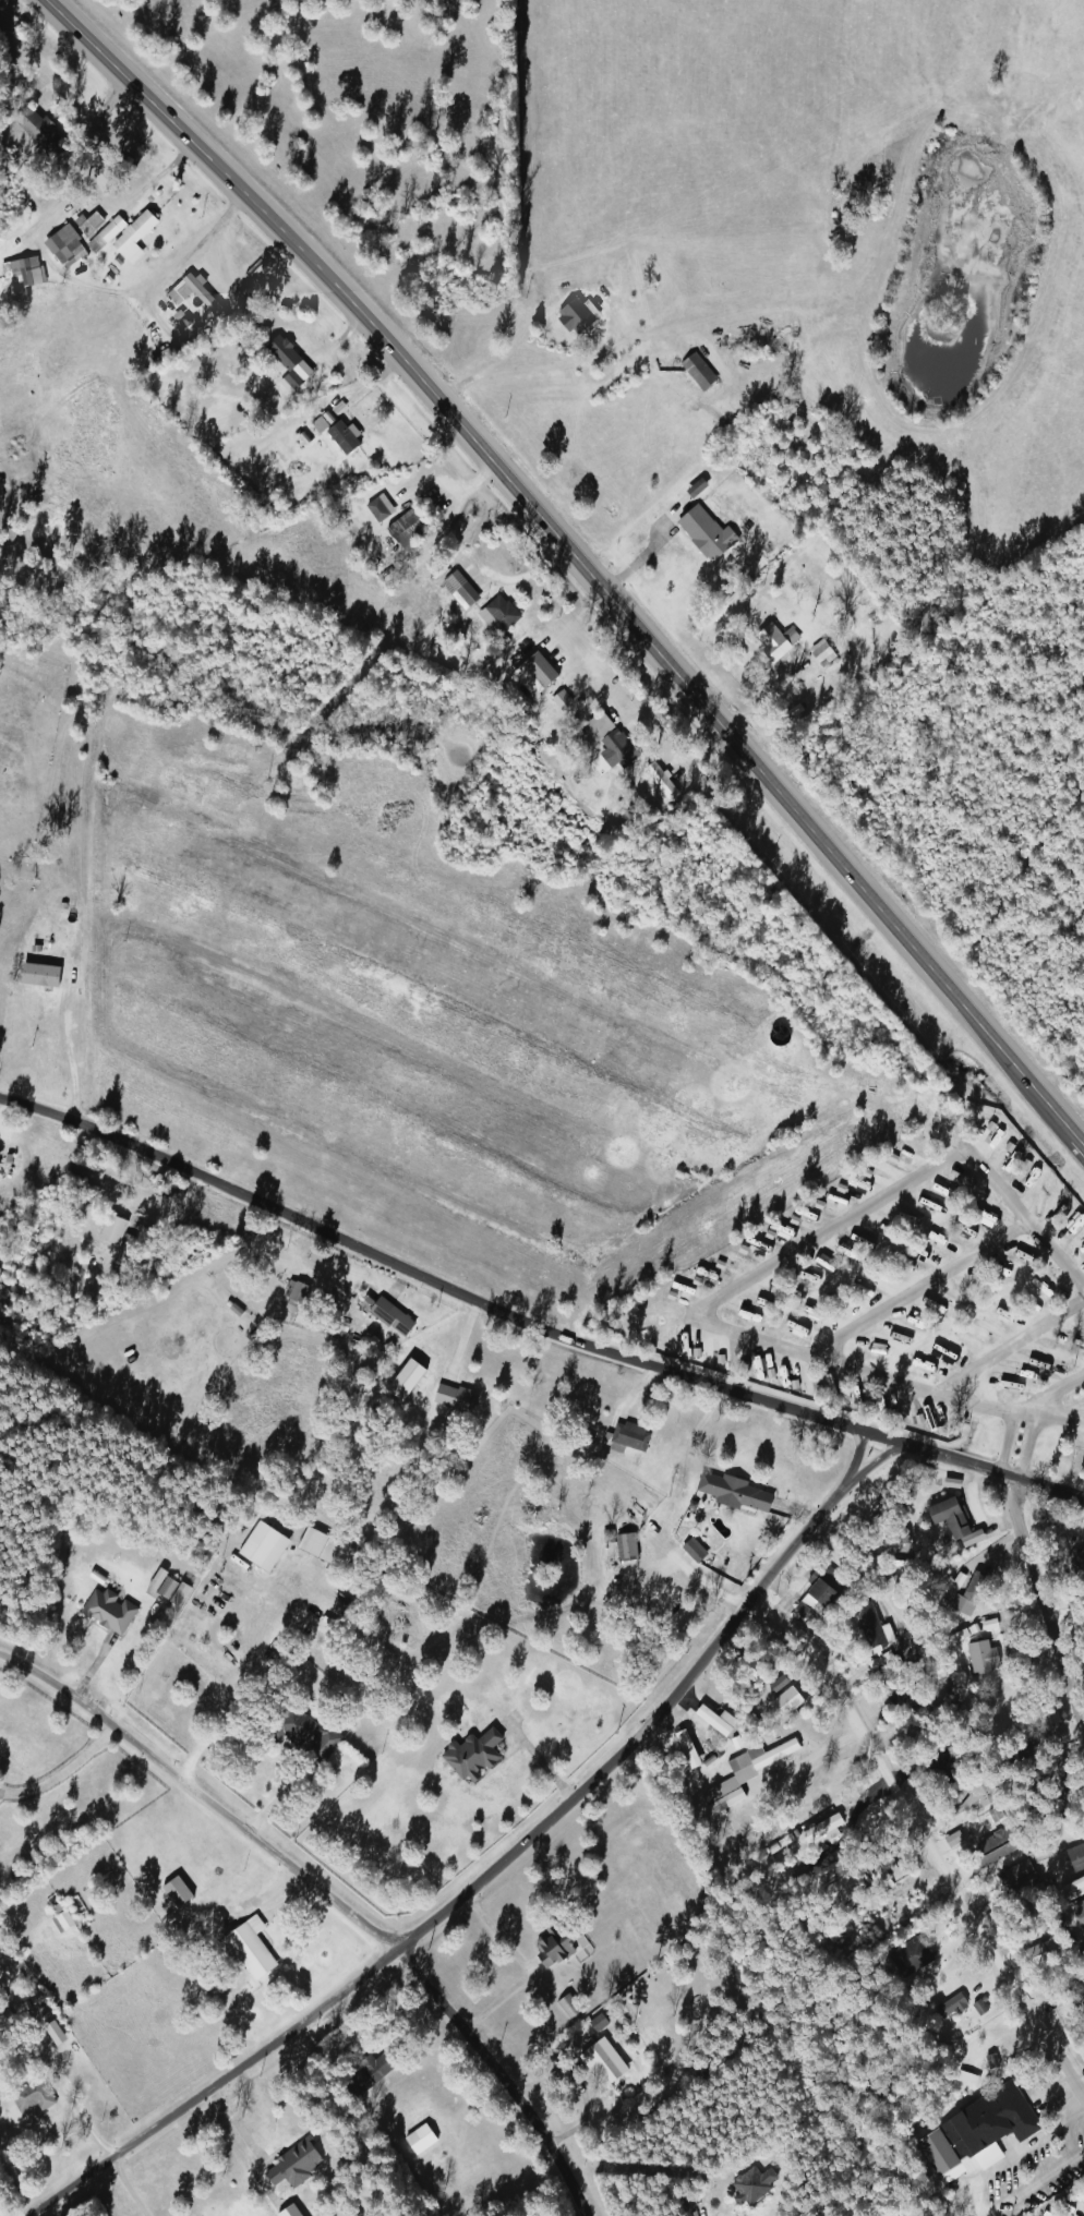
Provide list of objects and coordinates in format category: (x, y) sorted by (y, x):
building: (36, 130)
building: (85, 224)
building: (123, 236)
building: (62, 246)
building: (19, 274)
building: (192, 293)
building: (571, 317)
building: (286, 363)
building: (695, 372)
building: (339, 437)
building: (374, 510)
building: (407, 527)
building: (703, 533)
road: (579, 561)
building: (457, 589)
building: (498, 613)
building: (771, 640)
building: (819, 653)
building: (539, 673)
building: (558, 700)
building: (610, 738)
building: (659, 781)
building: (112, 1232)
road: (735, 1285)
road: (915, 1287)
building: (292, 1297)
road: (535, 1310)
building: (388, 1316)
road: (1008, 1344)
building: (451, 1398)
road: (1023, 1406)
building: (627, 1435)
road: (1026, 1444)
building: (731, 1492)
building: (947, 1517)
building: (261, 1545)
building: (322, 1546)
building: (622, 1552)
building: (1077, 1558)
building: (974, 1583)
building: (166, 1588)
building: (816, 1593)
building: (960, 1604)
road: (1029, 1606)
building: (106, 1610)
building: (871, 1637)
building: (979, 1657)
building: (894, 1695)
building: (1044, 1714)
building: (710, 1720)
building: (298, 1727)
building: (684, 1749)
building: (742, 1774)
building: (786, 1786)
building: (827, 1786)
building: (1063, 1795)
road: (197, 1799)
building: (819, 1831)
road: (922, 1838)
building: (992, 1847)
building: (1074, 1857)
road: (479, 1874)
building: (1015, 1877)
building: (839, 1888)
building: (1072, 1889)
building: (173, 1892)
building: (1079, 1915)
building: (60, 1917)
building: (552, 1946)
building: (246, 1951)
building: (1034, 1955)
building: (907, 1956)
building: (1077, 1995)
building: (948, 2006)
building: (566, 2007)
building: (380, 2062)
building: (600, 2062)
road: (487, 2082)
building: (29, 2096)
building: (974, 2133)
building: (417, 2140)
building: (749, 2185)

